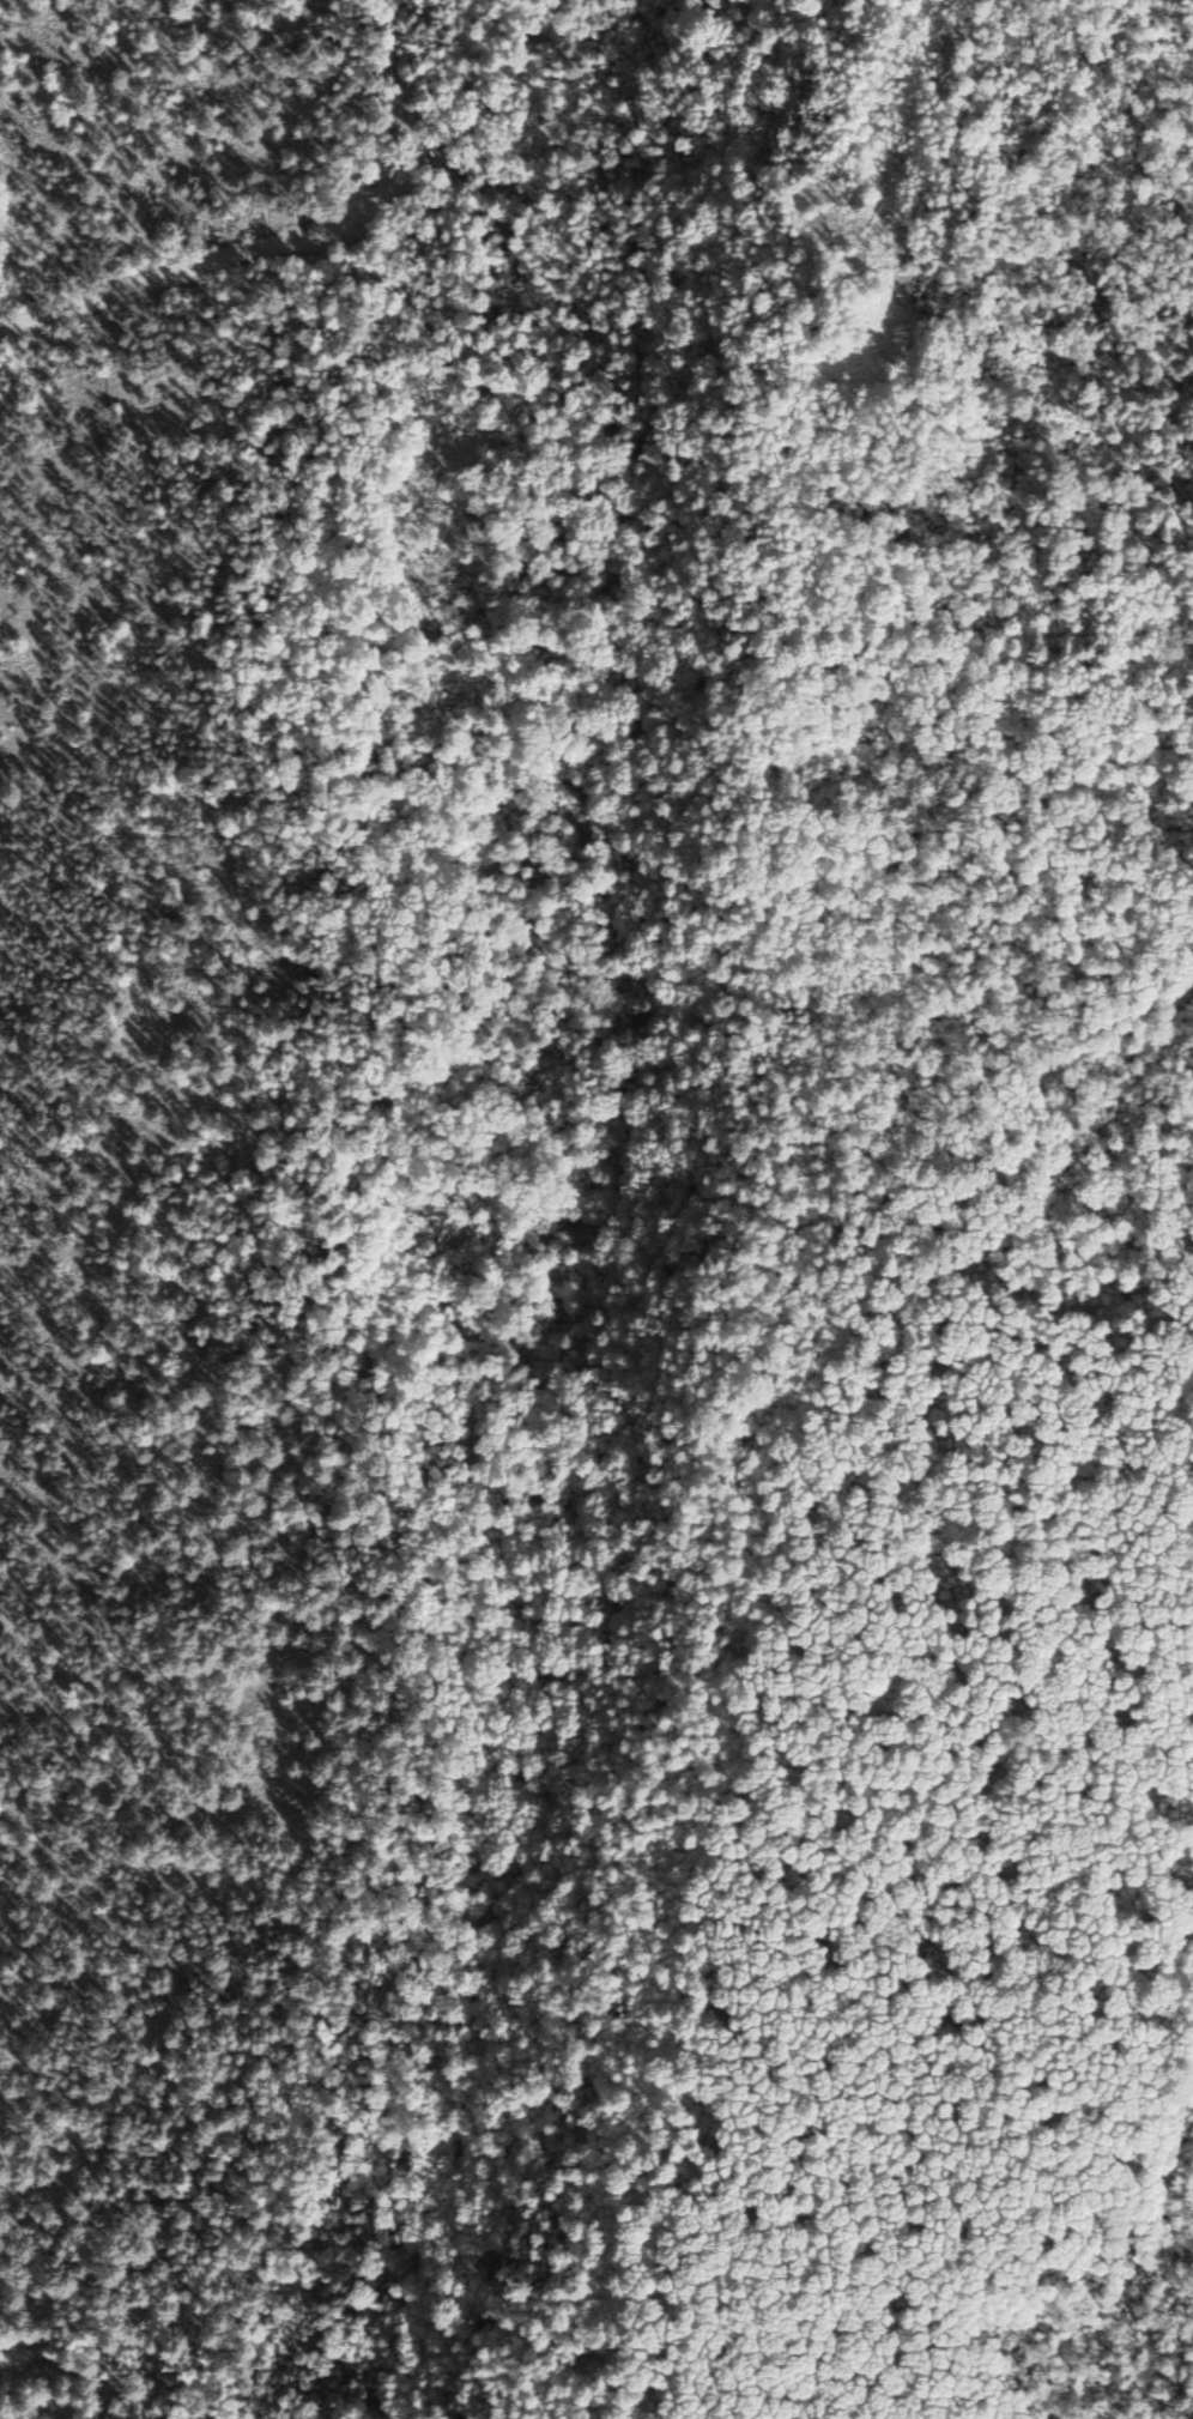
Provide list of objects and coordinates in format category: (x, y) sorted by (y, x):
road: (400, 81)
road: (804, 177)
parking lot: (398, 191)
road: (665, 201)
road: (195, 262)
road: (134, 958)

